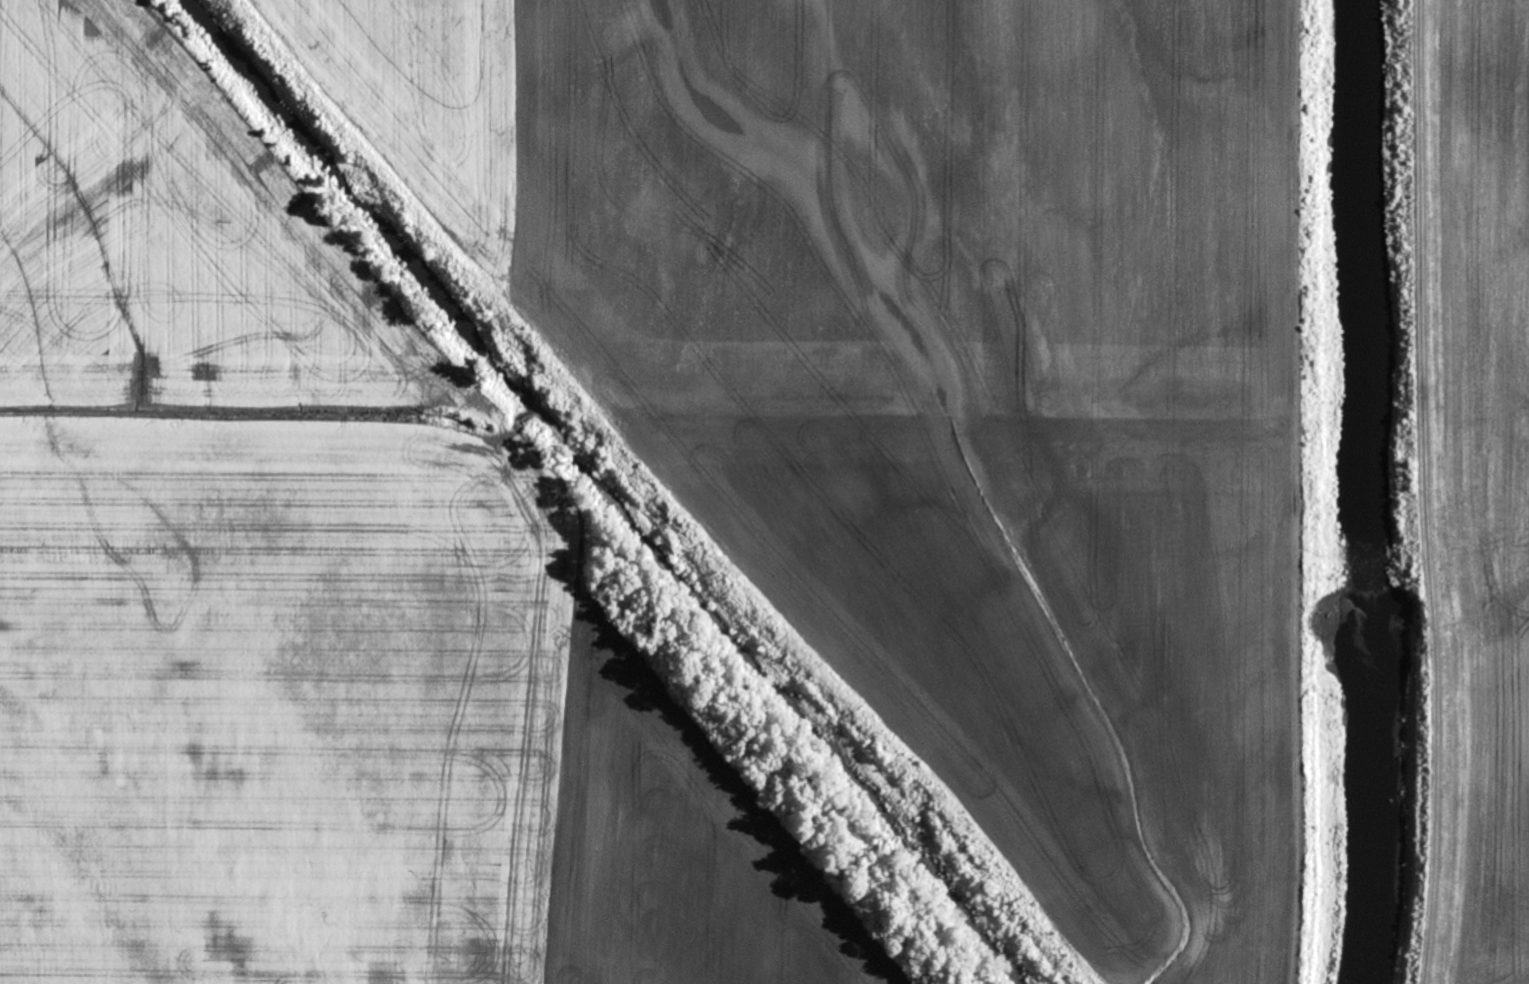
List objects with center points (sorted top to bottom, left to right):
road: (1296, 492)
river: (1368, 492)

